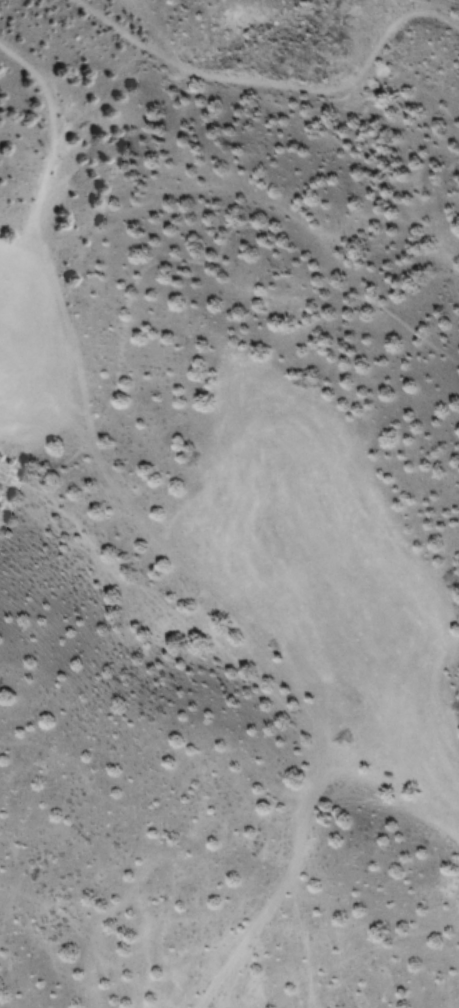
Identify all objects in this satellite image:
road: (277, 84)
road: (49, 131)

